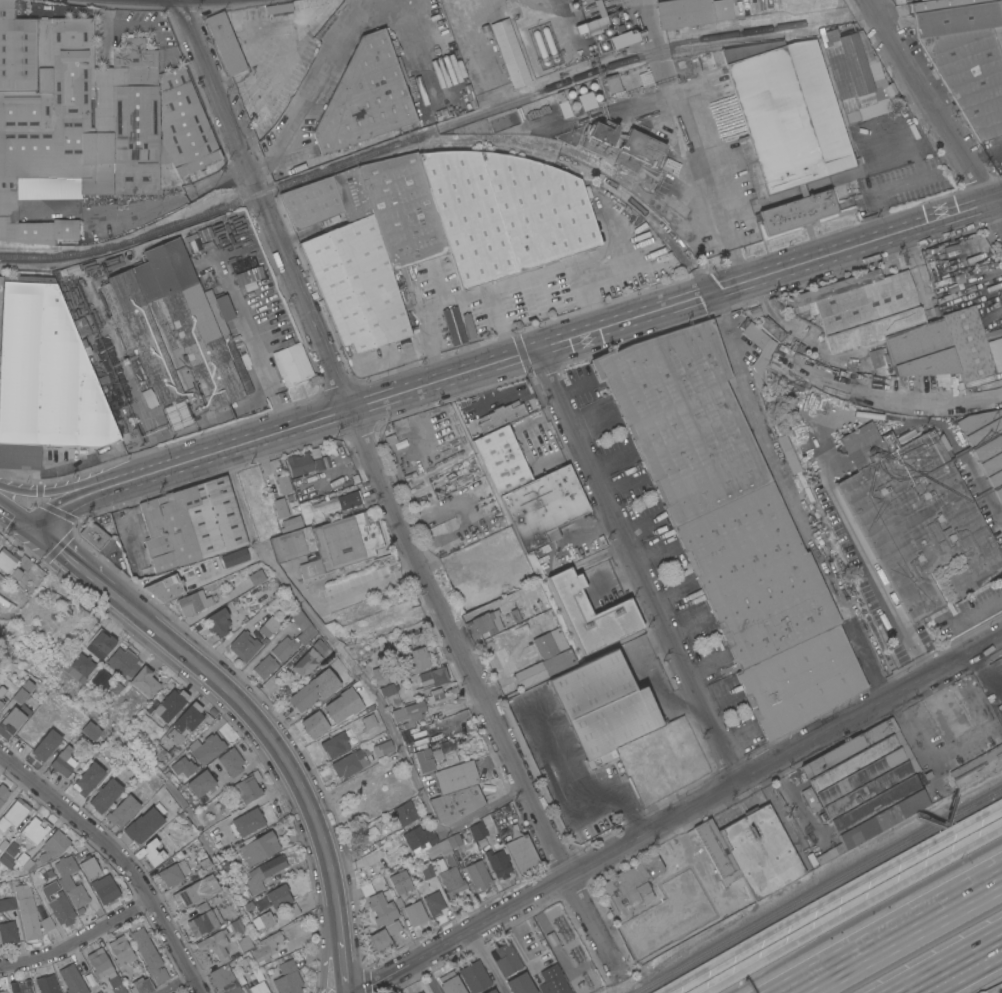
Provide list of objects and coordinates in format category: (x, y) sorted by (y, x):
building: (1000, 5)
building: (279, 8)
building: (691, 12)
building: (331, 18)
building: (595, 25)
railway: (701, 37)
building: (622, 38)
building: (225, 42)
railway: (704, 44)
building: (510, 52)
building: (967, 59)
building: (854, 74)
road: (321, 82)
building: (611, 83)
building: (411, 88)
building: (365, 97)
building: (585, 100)
building: (563, 104)
railway: (497, 105)
road: (935, 111)
building: (785, 115)
building: (88, 117)
building: (599, 136)
building: (638, 150)
railway: (316, 171)
road: (709, 188)
road: (153, 196)
building: (403, 212)
building: (505, 212)
building: (797, 212)
railway: (132, 237)
building: (206, 237)
building: (348, 261)
railway: (690, 264)
road: (529, 275)
building: (250, 280)
building: (754, 312)
road: (422, 314)
building: (880, 321)
building: (452, 325)
building: (178, 328)
building: (772, 329)
building: (754, 335)
road: (579, 337)
building: (972, 343)
building: (879, 361)
building: (292, 362)
building: (45, 377)
building: (508, 400)
building: (179, 414)
building: (454, 414)
building: (469, 415)
building: (397, 429)
building: (943, 443)
building: (985, 443)
building: (439, 446)
road: (771, 455)
building: (502, 459)
building: (305, 462)
building: (283, 483)
building: (321, 483)
road: (383, 485)
road: (78, 487)
road: (90, 494)
road: (243, 500)
building: (327, 504)
building: (543, 506)
building: (280, 507)
road: (14, 515)
building: (915, 516)
building: (291, 522)
building: (191, 523)
traffic signals: (29, 524)
building: (731, 524)
building: (437, 527)
building: (98, 531)
building: (328, 543)
building: (236, 556)
road: (68, 557)
building: (13, 564)
road: (638, 565)
building: (257, 577)
road: (875, 577)
building: (165, 588)
building: (458, 590)
building: (194, 602)
road: (975, 608)
building: (588, 614)
building: (222, 619)
building: (487, 622)
building: (268, 626)
building: (304, 635)
building: (100, 645)
building: (244, 645)
building: (546, 653)
building: (415, 659)
road: (864, 661)
building: (306, 662)
building: (265, 666)
building: (80, 667)
building: (133, 670)
building: (377, 675)
building: (431, 677)
building: (101, 679)
building: (313, 689)
building: (2, 690)
building: (22, 691)
building: (387, 694)
building: (0, 704)
building: (170, 704)
building: (340, 705)
building: (603, 706)
building: (407, 714)
building: (189, 717)
building: (12, 720)
building: (367, 721)
building: (311, 724)
building: (90, 730)
building: (175, 735)
road: (269, 737)
building: (1000, 742)
building: (334, 744)
building: (45, 745)
building: (208, 748)
building: (381, 748)
building: (448, 757)
road: (929, 757)
building: (426, 758)
building: (63, 761)
building: (231, 761)
building: (350, 762)
building: (184, 766)
building: (977, 766)
building: (455, 776)
building: (88, 779)
building: (201, 783)
building: (865, 783)
building: (246, 789)
building: (3, 793)
road: (422, 794)
building: (105, 795)
road: (800, 800)
building: (456, 803)
building: (123, 811)
building: (13, 813)
building: (405, 813)
road: (678, 813)
building: (247, 821)
building: (143, 825)
building: (35, 828)
building: (478, 830)
building: (430, 841)
building: (259, 848)
building: (52, 849)
building: (761, 851)
building: (149, 852)
building: (830, 853)
building: (522, 855)
building: (669, 855)
road: (119, 859)
building: (722, 861)
building: (202, 862)
building: (498, 863)
building: (89, 866)
building: (426, 870)
building: (264, 872)
building: (173, 873)
building: (478, 874)
building: (46, 875)
building: (450, 879)
building: (70, 881)
building: (400, 882)
building: (630, 887)
building: (104, 889)
building: (366, 889)
railway: (818, 889)
building: (195, 892)
road: (827, 892)
building: (278, 896)
building: (7, 903)
building: (434, 903)
building: (57, 904)
building: (247, 906)
road: (852, 909)
building: (291, 910)
building: (26, 912)
building: (384, 913)
building: (415, 913)
building: (206, 918)
building: (263, 920)
building: (46, 923)
building: (236, 926)
building: (8, 932)
road: (894, 932)
building: (275, 936)
building: (551, 939)
building: (377, 940)
road: (79, 942)
building: (214, 943)
building: (244, 943)
road: (325, 948)
building: (263, 949)
building: (120, 951)
building: (147, 953)
building: (506, 959)
building: (245, 961)
building: (98, 962)
road: (343, 967)
road: (955, 967)
building: (220, 976)
building: (474, 976)
building: (288, 978)
building: (72, 979)
building: (552, 981)
building: (257, 982)
building: (450, 983)
building: (47, 984)
building: (115, 984)
road: (176, 984)
building: (520, 984)
building: (141, 986)
building: (20, 987)
building: (234, 990)
building: (3, 991)
building: (491, 991)
building: (97, 992)
building: (99, 992)
building: (420, 992)
building: (497, 992)

